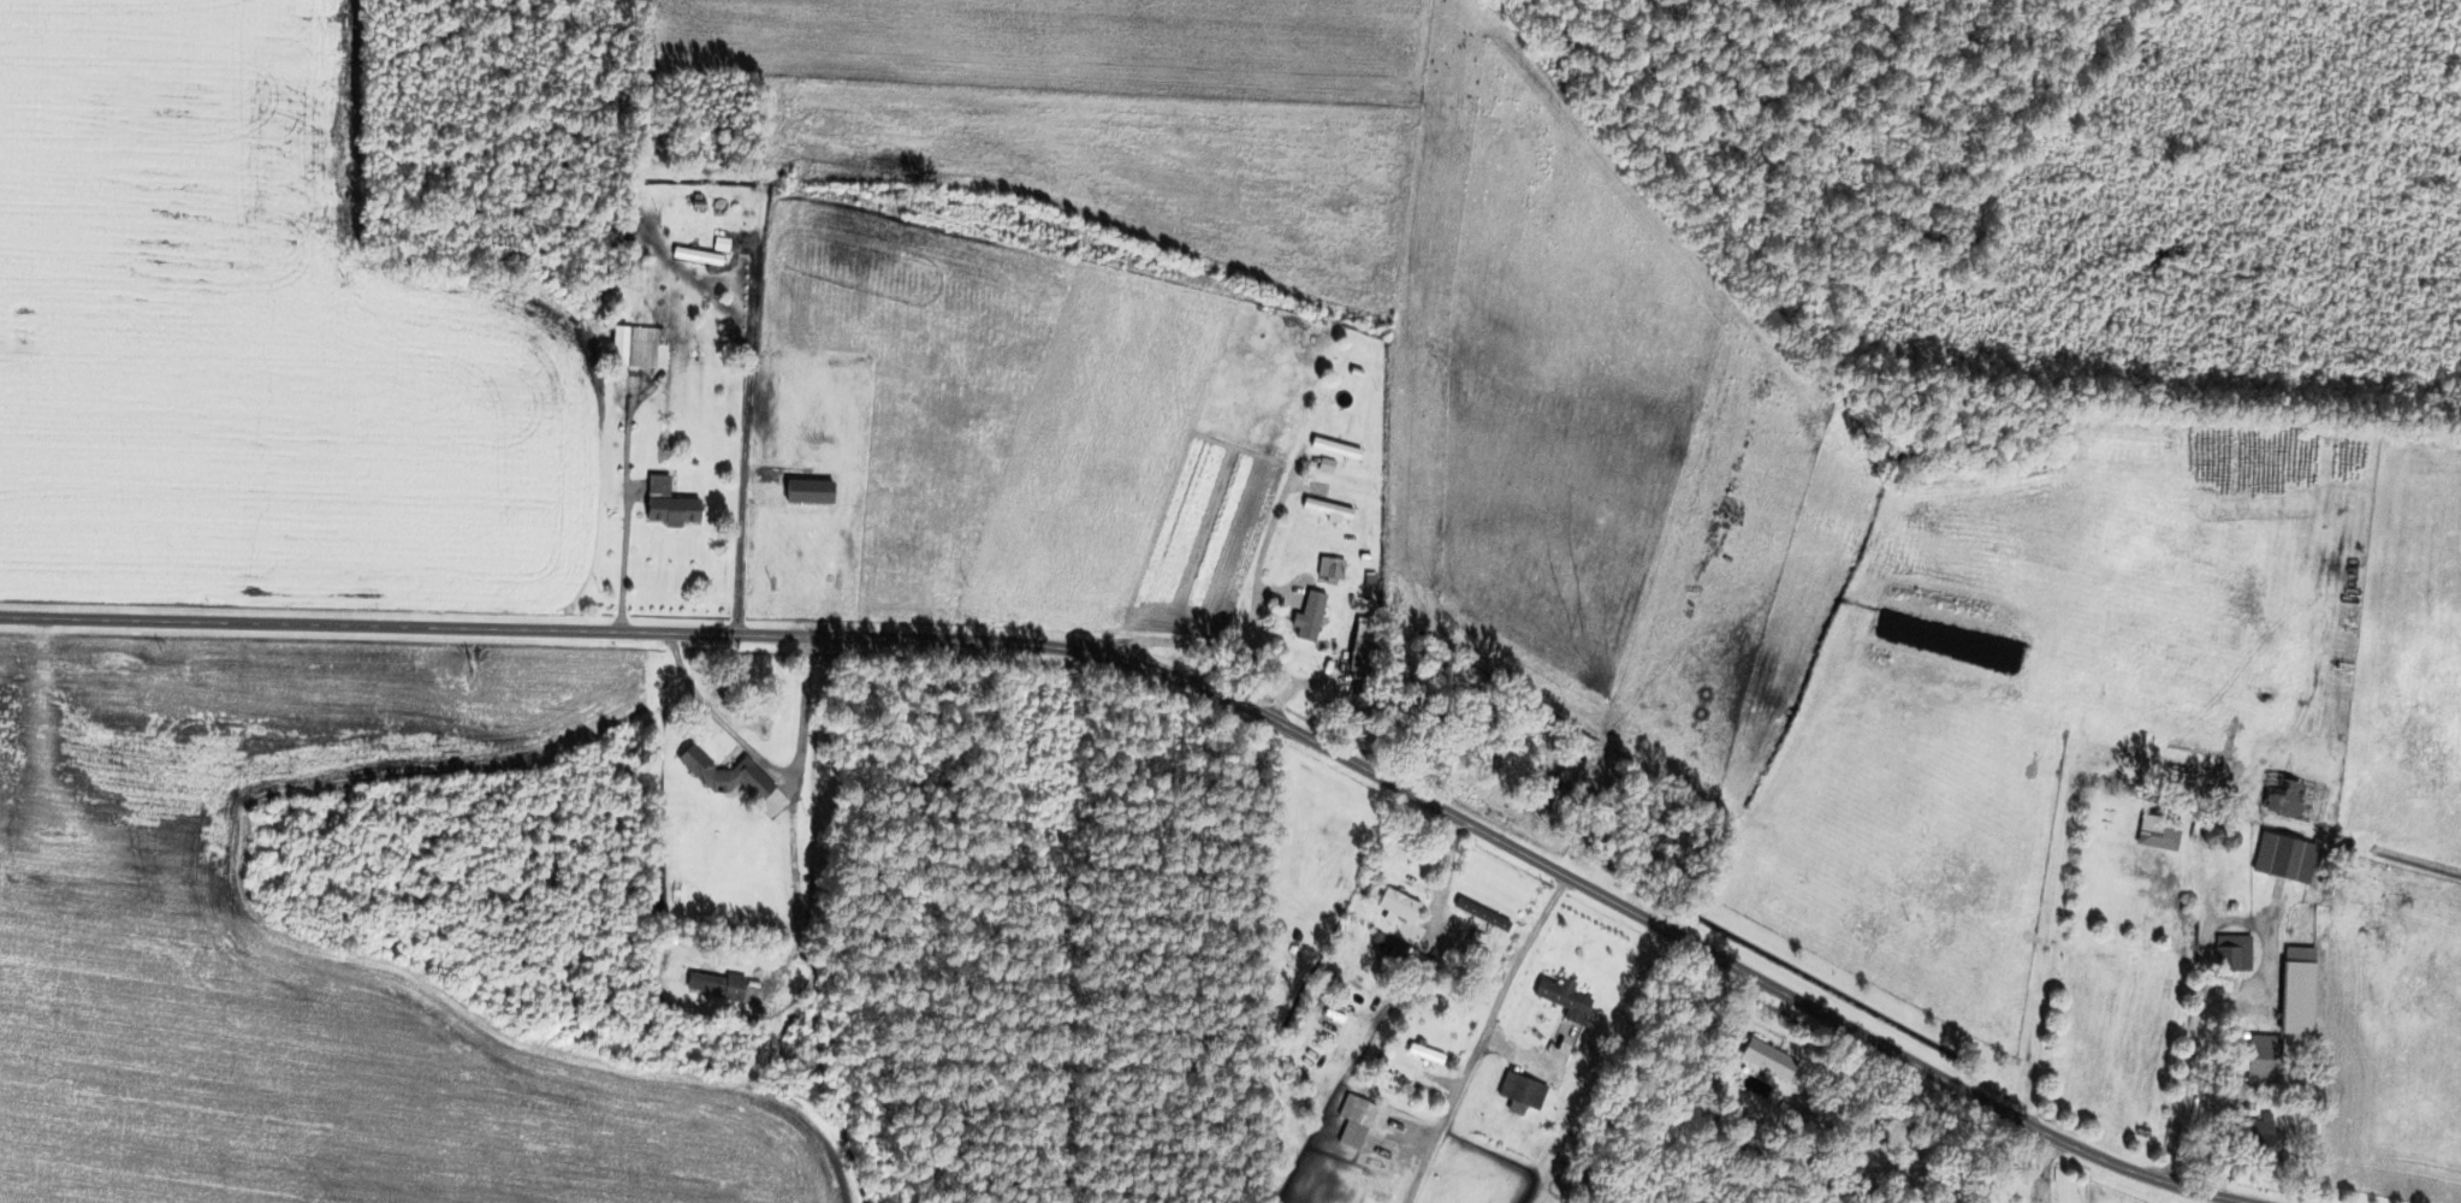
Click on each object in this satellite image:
building: (720, 245)
building: (696, 257)
building: (1335, 449)
building: (666, 503)
building: (1309, 617)
building: (1359, 657)
road: (1182, 685)
road: (802, 713)
building: (728, 776)
building: (2293, 802)
building: (2159, 834)
building: (2284, 859)
building: (1398, 907)
building: (1864, 928)
building: (2232, 955)
building: (713, 985)
building: (2296, 991)
building: (1567, 994)
road: (1481, 1037)
building: (1425, 1054)
building: (1771, 1054)
building: (2264, 1060)
building: (1520, 1092)
building: (1357, 1110)
building: (2261, 1143)

